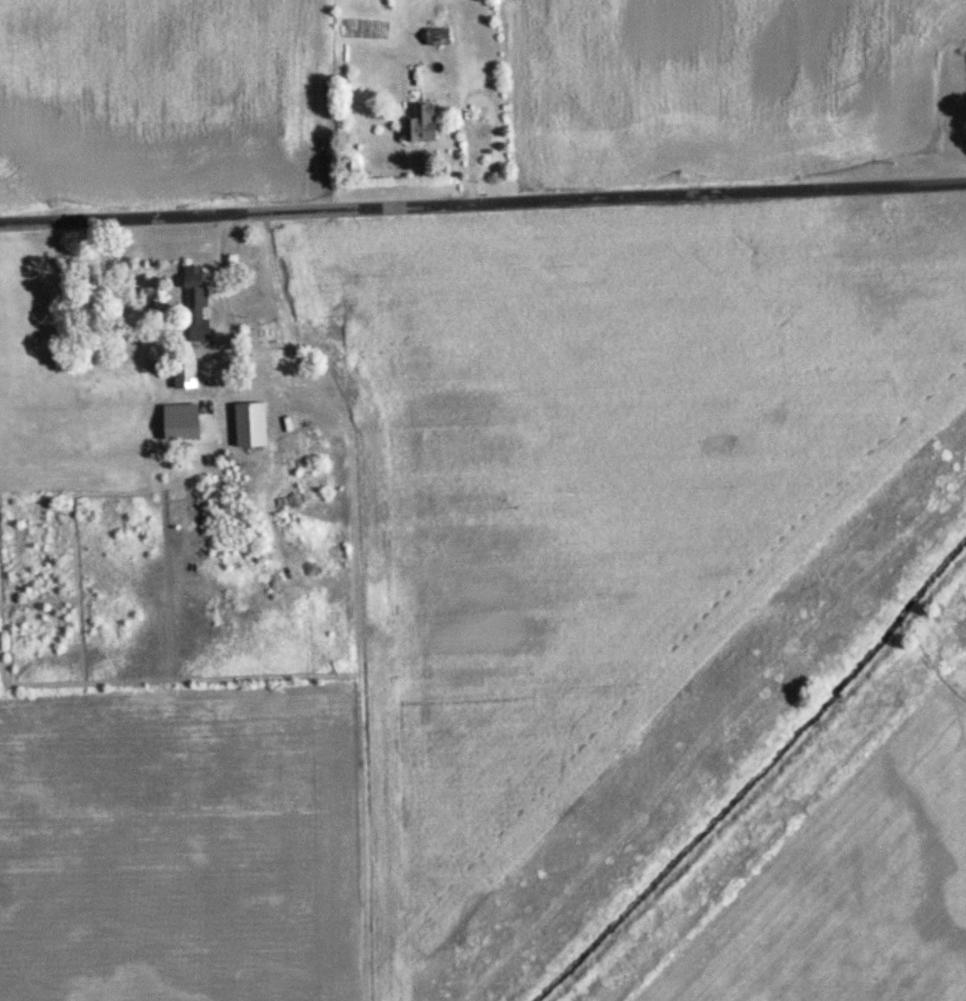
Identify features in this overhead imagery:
building: (434, 37)
building: (417, 125)
road: (483, 203)
road: (221, 280)
building: (192, 302)
building: (181, 370)
building: (247, 425)

